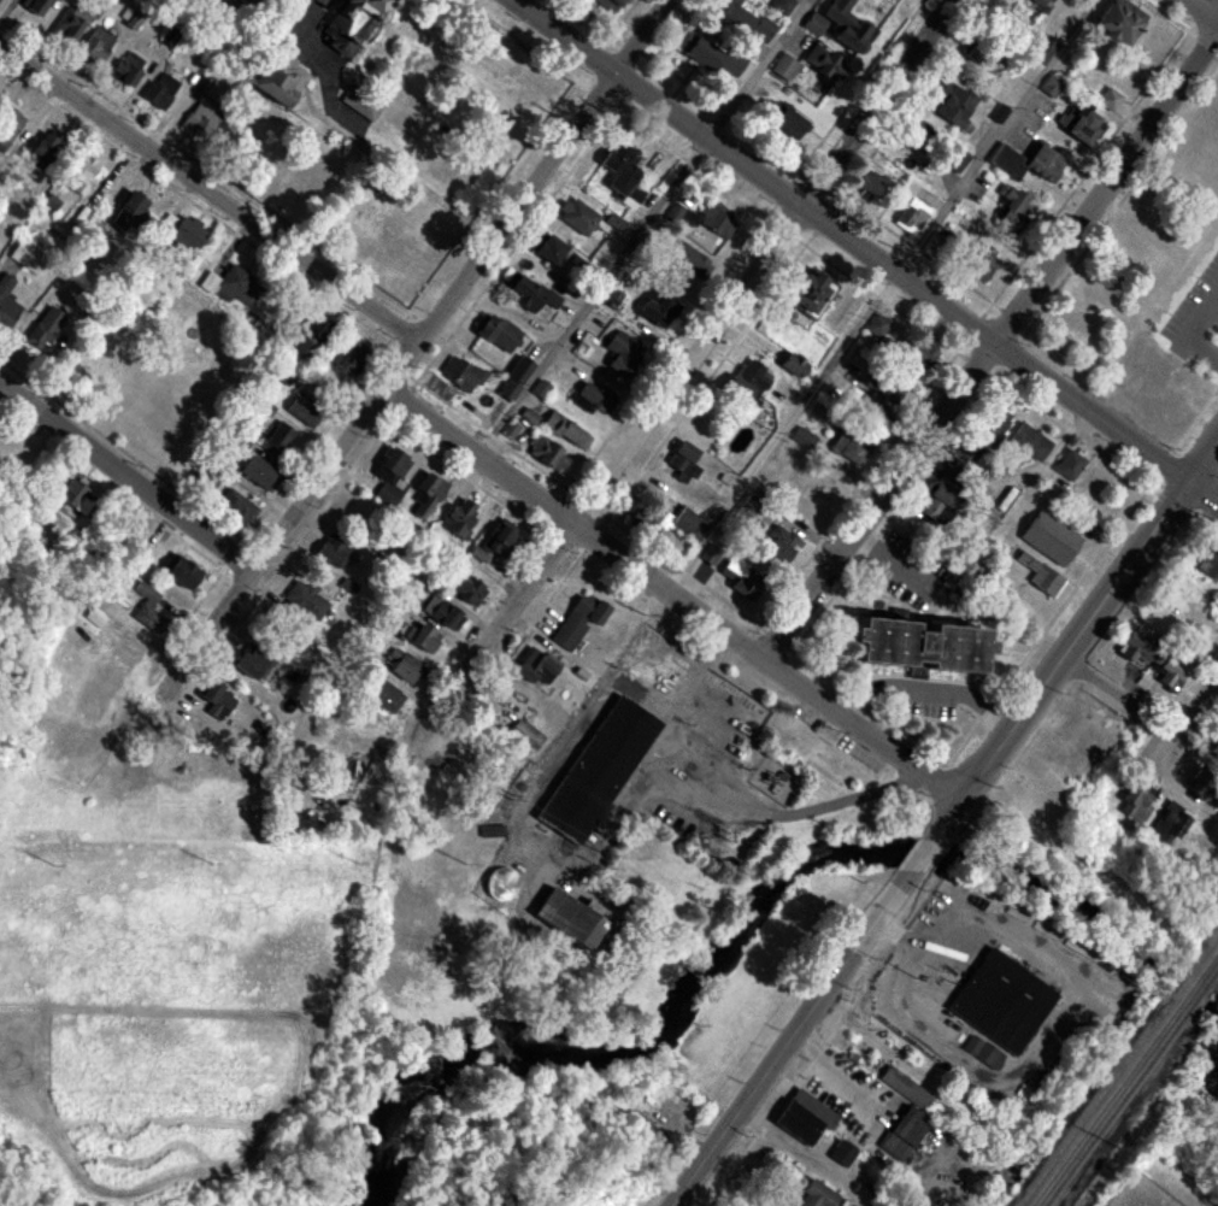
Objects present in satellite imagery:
building: (794, 0)
building: (1042, 2)
building: (608, 5)
building: (35, 6)
building: (781, 6)
road: (1200, 12)
road: (1205, 18)
building: (1120, 22)
building: (70, 23)
building: (353, 23)
building: (813, 24)
road: (1179, 27)
building: (96, 45)
road: (301, 49)
building: (1041, 51)
building: (699, 52)
building: (824, 63)
building: (730, 64)
road: (753, 67)
building: (784, 67)
building: (126, 70)
building: (278, 80)
building: (1051, 87)
building: (161, 90)
building: (1110, 100)
building: (360, 102)
building: (953, 105)
building: (999, 114)
building: (200, 122)
building: (789, 124)
building: (1079, 124)
building: (7, 128)
road: (995, 136)
building: (43, 151)
building: (1028, 163)
building: (81, 175)
building: (622, 176)
building: (875, 189)
road: (211, 195)
building: (1011, 211)
building: (128, 213)
building: (672, 214)
building: (577, 217)
building: (912, 217)
building: (713, 218)
road: (1116, 219)
building: (166, 225)
building: (187, 234)
road: (853, 242)
building: (549, 251)
building: (23, 255)
building: (689, 263)
building: (982, 264)
building: (231, 287)
building: (810, 293)
building: (529, 295)
road: (590, 296)
building: (6, 302)
building: (660, 313)
road: (435, 322)
parking lot: (1200, 322)
building: (877, 325)
building: (45, 330)
building: (498, 334)
building: (310, 336)
road: (1191, 337)
road: (990, 347)
building: (623, 354)
building: (348, 355)
building: (922, 357)
building: (794, 366)
building: (460, 375)
road: (681, 378)
building: (514, 380)
building: (748, 383)
building: (540, 389)
building: (592, 399)
road: (1129, 401)
building: (301, 412)
building: (994, 425)
building: (566, 431)
road: (781, 431)
road: (1194, 435)
building: (278, 439)
building: (804, 439)
building: (1030, 442)
building: (848, 451)
building: (547, 454)
building: (683, 463)
building: (1069, 465)
building: (960, 471)
building: (258, 473)
building: (389, 478)
road: (125, 480)
road: (1206, 493)
building: (69, 495)
building: (426, 496)
building: (936, 504)
building: (746, 507)
building: (236, 508)
building: (460, 518)
building: (669, 522)
building: (1049, 540)
building: (495, 542)
building: (781, 545)
building: (330, 553)
building: (711, 555)
building: (1201, 563)
building: (181, 575)
building: (740, 576)
building: (1040, 577)
building: (465, 590)
road: (673, 596)
building: (305, 601)
building: (147, 608)
building: (442, 614)
building: (94, 618)
building: (578, 622)
building: (420, 639)
road: (1076, 647)
building: (918, 648)
building: (1136, 648)
building: (251, 665)
building: (402, 666)
building: (535, 667)
building: (1170, 672)
road: (928, 690)
road: (1122, 696)
building: (386, 698)
building: (217, 701)
road: (1196, 707)
building: (525, 734)
building: (599, 771)
building: (1194, 772)
building: (1135, 801)
building: (1167, 825)
road: (923, 857)
building: (501, 886)
building: (571, 919)
park: (753, 952)
railway: (1206, 965)
railway: (1211, 981)
railway: (1188, 992)
railway: (1198, 1000)
building: (1001, 1002)
road: (794, 1039)
building: (983, 1052)
building: (906, 1088)
railway: (1106, 1104)
railway: (1119, 1107)
building: (804, 1117)
building: (905, 1134)
road: (798, 1153)
building: (841, 1153)
building: (816, 1195)

